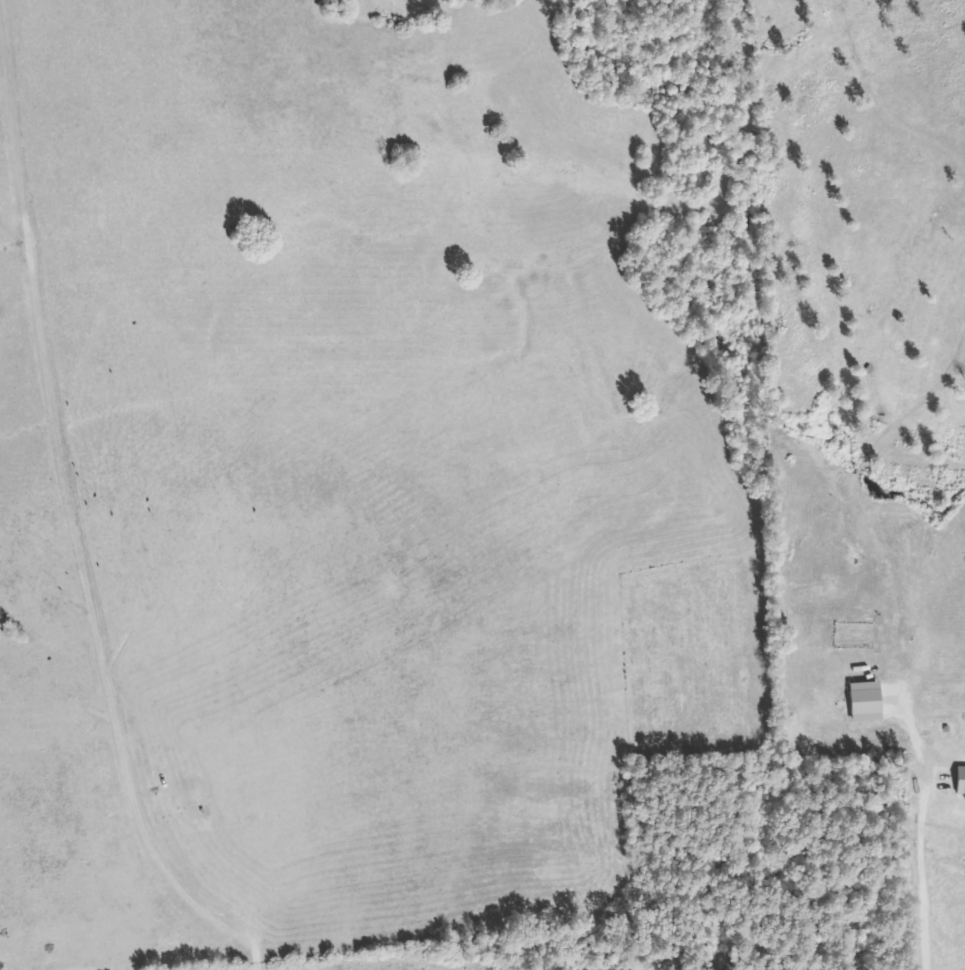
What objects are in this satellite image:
road: (73, 504)

